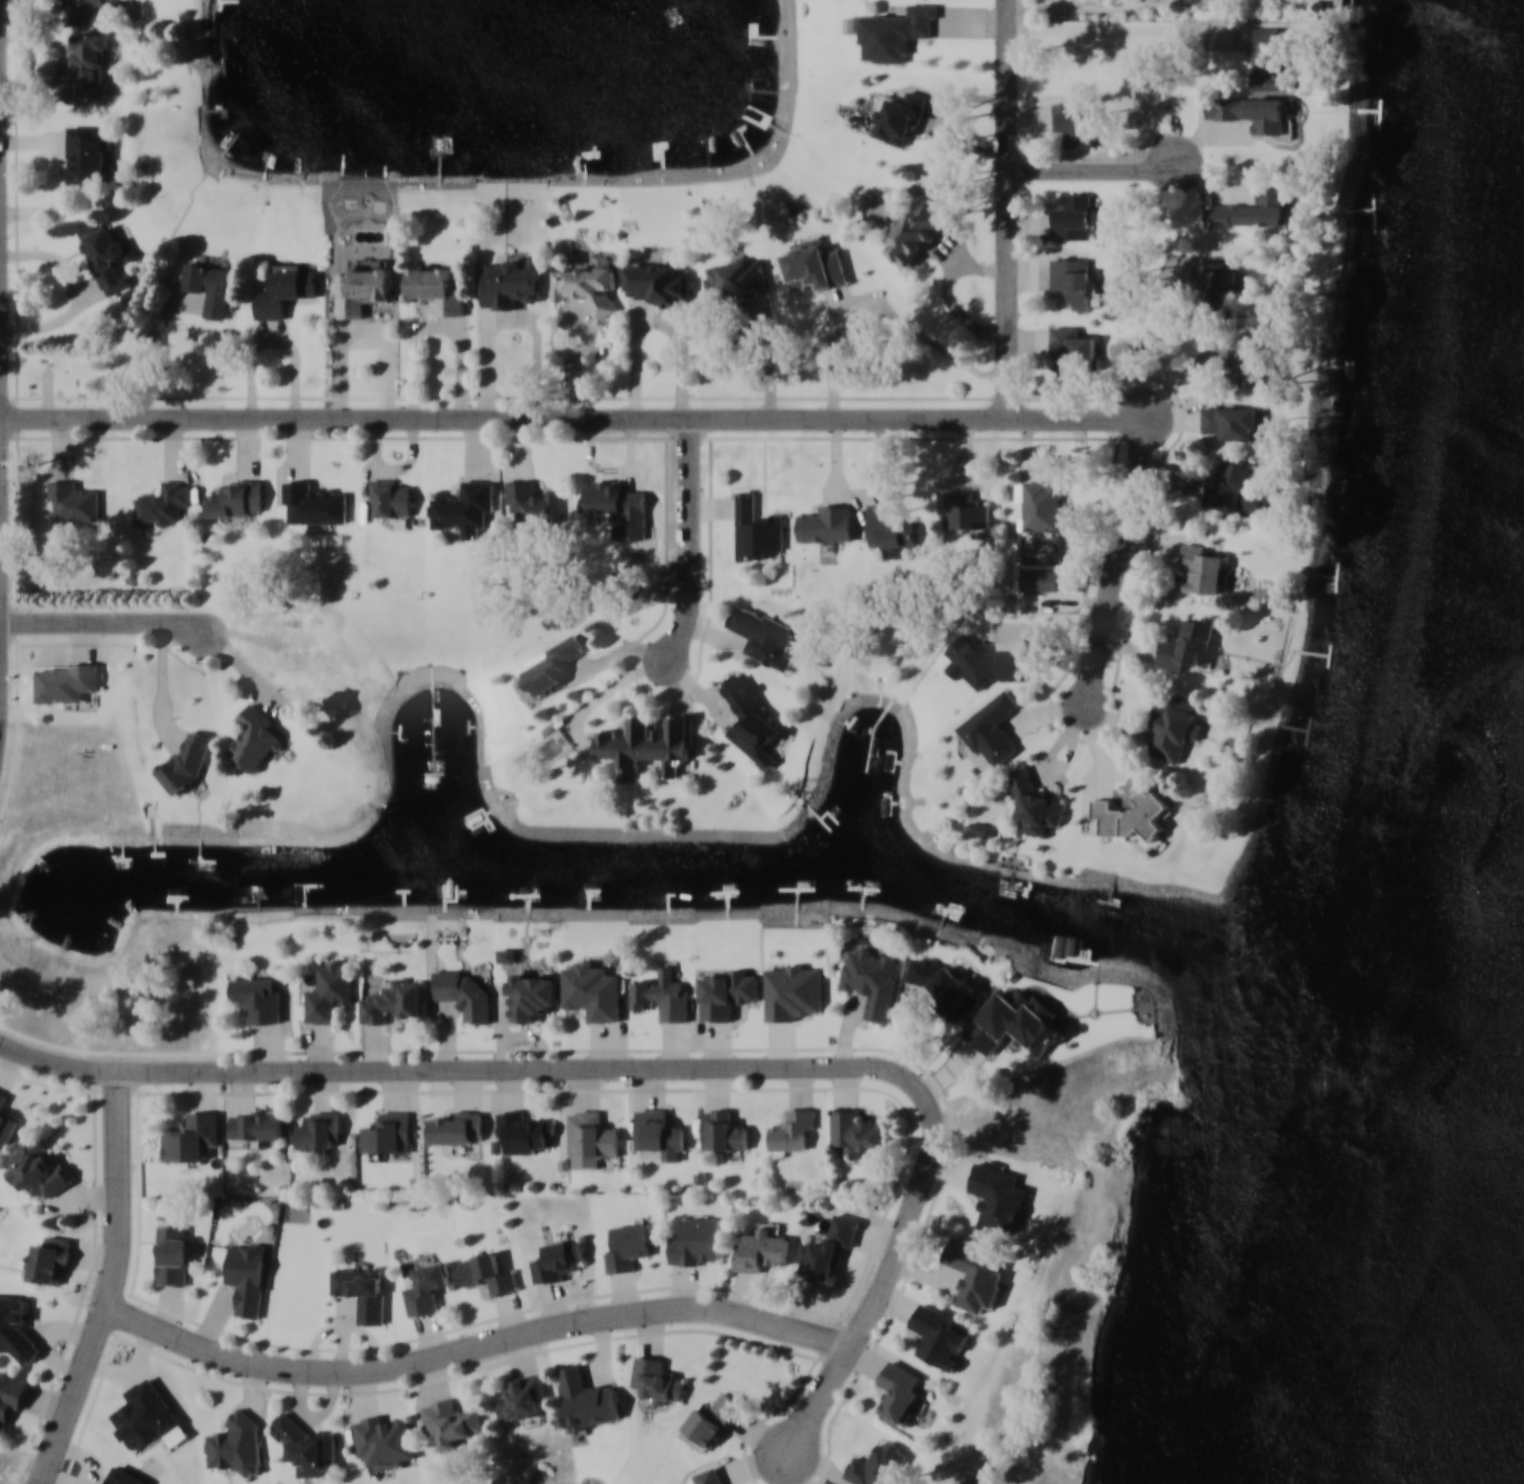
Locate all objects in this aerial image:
building: (1338, 1)
building: (95, 11)
road: (1086, 12)
building: (894, 32)
building: (1267, 60)
building: (91, 64)
building: (1261, 114)
building: (898, 118)
building: (1075, 124)
building: (88, 154)
road: (1103, 171)
road: (1009, 209)
building: (1253, 210)
building: (1073, 216)
building: (917, 231)
building: (106, 255)
building: (815, 264)
building: (735, 278)
building: (657, 281)
building: (1075, 282)
building: (512, 283)
building: (1215, 284)
building: (585, 285)
building: (209, 287)
building: (361, 288)
building: (434, 288)
building: (285, 289)
road: (75, 297)
road: (513, 321)
road: (438, 326)
road: (659, 327)
road: (366, 330)
road: (276, 343)
building: (1072, 348)
building: (1237, 353)
road: (137, 356)
road: (574, 419)
building: (1237, 421)
building: (1233, 487)
building: (612, 496)
building: (238, 498)
building: (390, 498)
building: (72, 500)
building: (533, 502)
building: (164, 503)
building: (313, 503)
building: (1042, 504)
building: (464, 509)
building: (963, 509)
building: (827, 524)
building: (757, 528)
building: (893, 531)
road: (691, 549)
road: (1119, 565)
building: (1204, 569)
road: (102, 623)
building: (764, 635)
building: (1188, 644)
building: (552, 664)
building: (65, 681)
building: (1173, 727)
building: (991, 728)
building: (254, 738)
building: (647, 744)
building: (186, 759)
building: (1035, 803)
building: (1132, 815)
building: (982, 828)
building: (873, 979)
building: (948, 985)
building: (330, 988)
building: (793, 989)
building: (464, 993)
building: (531, 995)
building: (260, 997)
building: (663, 998)
building: (394, 1001)
building: (1016, 1022)
road: (3, 1042)
road: (667, 1066)
building: (7, 1120)
building: (257, 1124)
building: (458, 1127)
building: (792, 1128)
building: (319, 1130)
building: (658, 1130)
building: (723, 1130)
building: (524, 1131)
building: (858, 1131)
building: (388, 1132)
building: (193, 1137)
building: (591, 1138)
building: (37, 1167)
building: (999, 1197)
building: (698, 1240)
building: (629, 1245)
building: (828, 1247)
building: (760, 1250)
building: (173, 1254)
building: (50, 1259)
building: (558, 1259)
building: (975, 1271)
building: (488, 1272)
building: (248, 1276)
road: (114, 1282)
building: (427, 1287)
building: (362, 1290)
building: (15, 1323)
building: (938, 1336)
road: (479, 1346)
building: (657, 1380)
building: (899, 1391)
building: (11, 1394)
building: (524, 1399)
building: (588, 1400)
building: (452, 1420)
building: (711, 1421)
building: (385, 1441)
building: (235, 1445)
building: (307, 1445)
building: (880, 1464)
building: (710, 1476)

